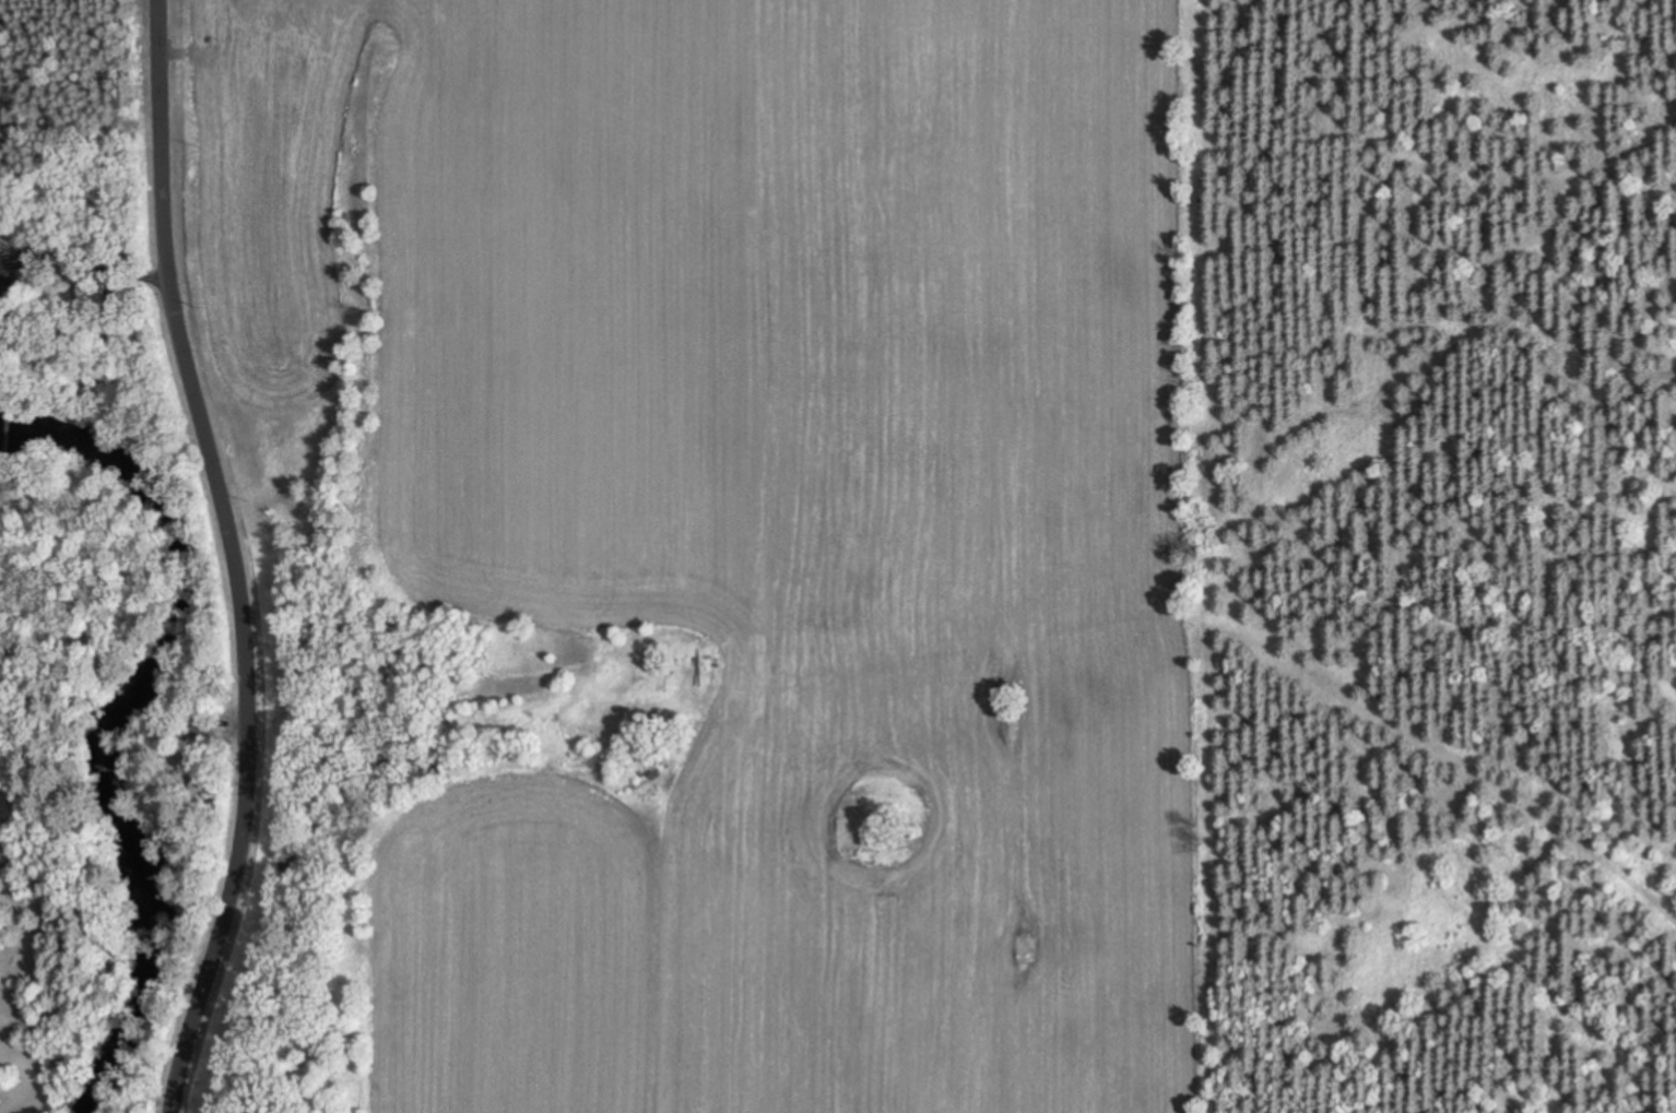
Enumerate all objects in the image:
building: (3, 281)
building: (96, 294)
road: (236, 557)
building: (194, 730)

